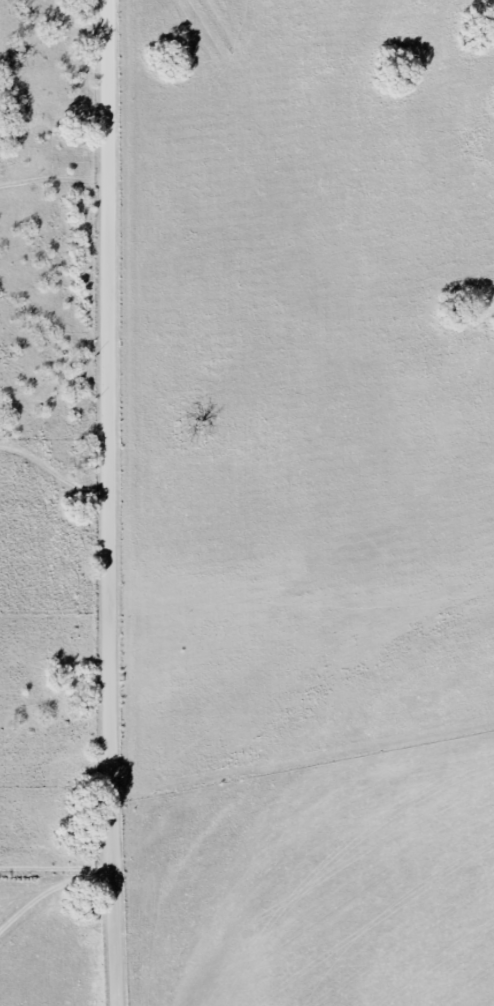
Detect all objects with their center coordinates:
road: (50, 117)
road: (107, 503)
road: (50, 890)

